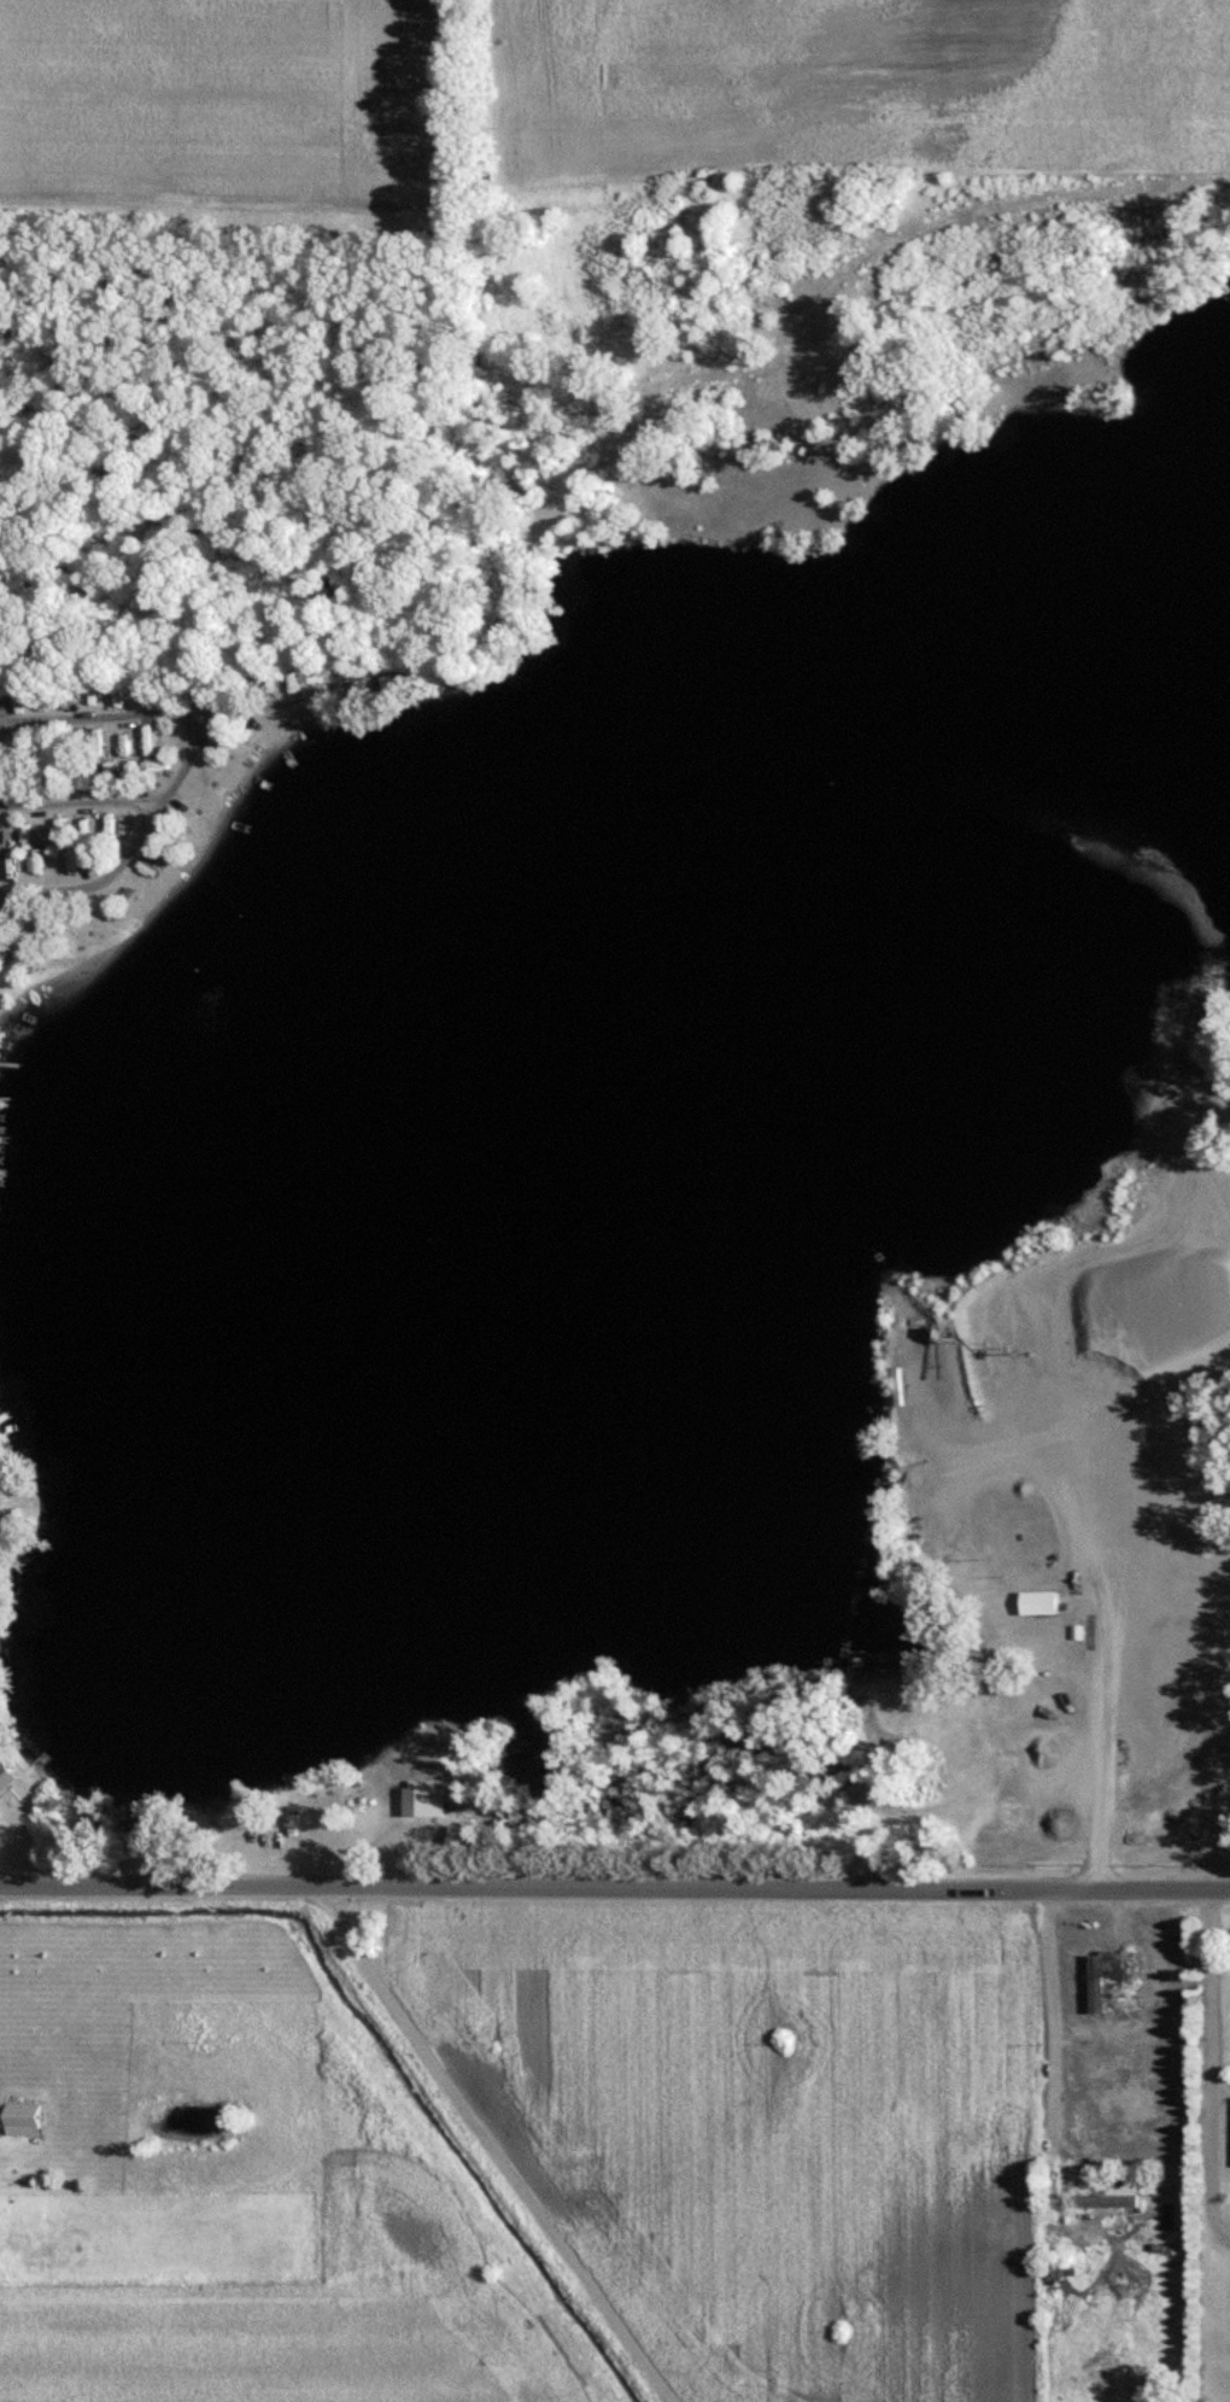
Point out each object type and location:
building: (310, 672)
building: (283, 680)
building: (92, 694)
building: (10, 700)
building: (48, 742)
building: (119, 742)
road: (177, 766)
road: (76, 803)
building: (109, 829)
building: (84, 831)
building: (59, 832)
building: (27, 836)
building: (1038, 1602)
road: (614, 1893)
building: (1106, 1981)
building: (1167, 1994)
road: (1212, 1994)
road: (1048, 2020)
building: (1121, 2067)
building: (20, 2120)
road: (481, 2151)
building: (1103, 2202)

